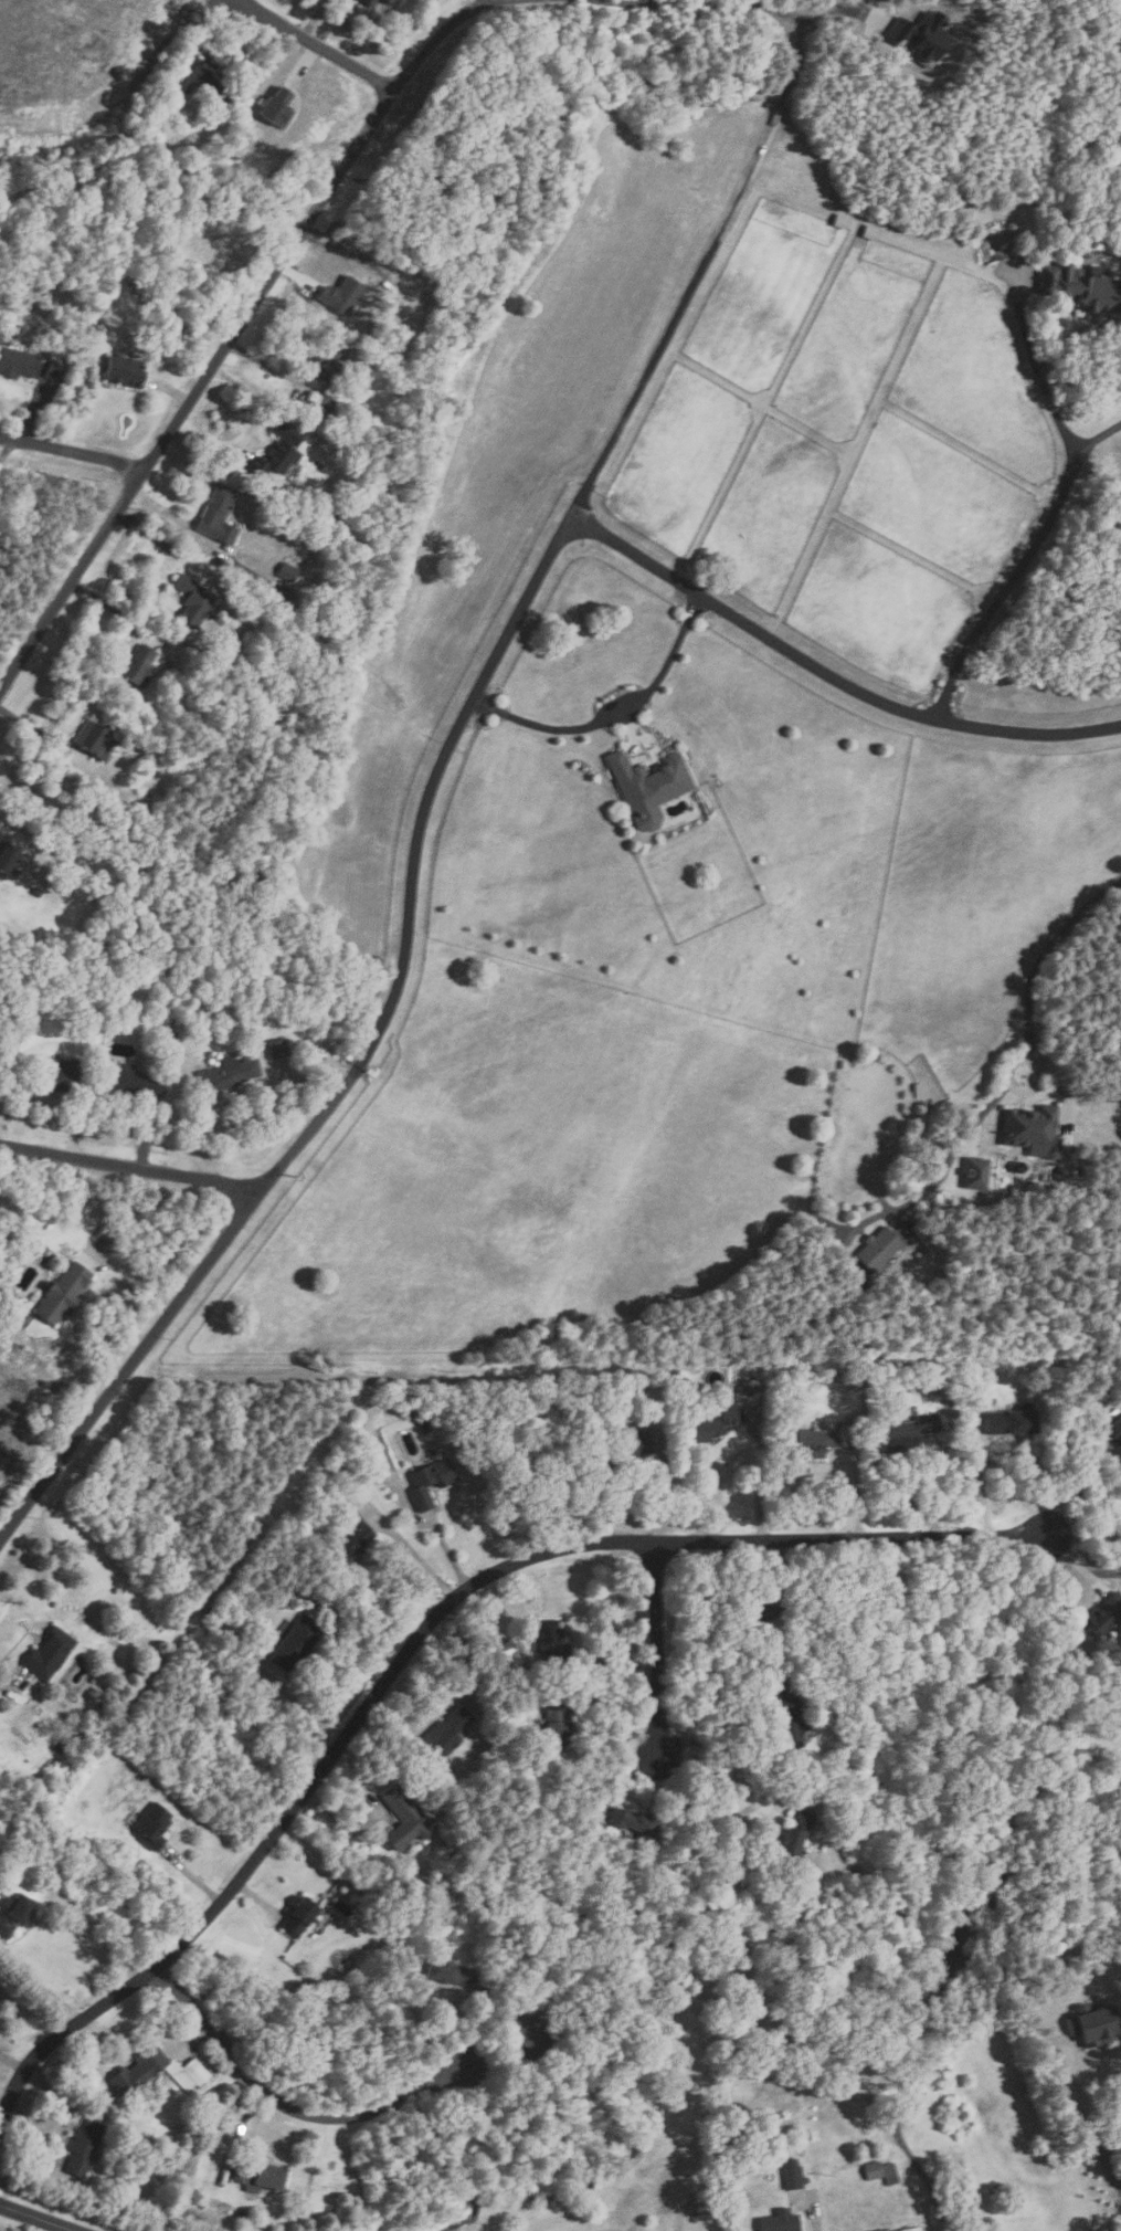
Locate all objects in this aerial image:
building: (366, 3)
building: (392, 3)
road: (484, 4)
road: (317, 18)
road: (194, 38)
building: (926, 39)
road: (319, 46)
road: (304, 63)
building: (189, 76)
building: (277, 106)
building: (838, 220)
building: (868, 231)
road: (702, 270)
road: (298, 276)
building: (1080, 285)
building: (148, 297)
building: (343, 297)
road: (253, 309)
road: (1075, 334)
building: (20, 361)
building: (328, 362)
road: (267, 364)
road: (1038, 369)
building: (56, 370)
building: (121, 370)
building: (394, 386)
road: (172, 388)
building: (325, 401)
road: (35, 417)
road: (252, 430)
building: (285, 431)
road: (1094, 439)
road: (74, 455)
building: (272, 460)
road: (21, 485)
building: (331, 512)
building: (216, 514)
road: (177, 522)
road: (158, 543)
building: (287, 572)
road: (1006, 587)
building: (191, 599)
road: (113, 606)
building: (135, 665)
road: (827, 677)
road: (612, 712)
road: (29, 726)
building: (92, 739)
building: (141, 761)
building: (646, 783)
building: (156, 799)
building: (140, 811)
building: (7, 862)
building: (64, 870)
building: (35, 892)
building: (62, 1007)
building: (84, 1007)
building: (171, 1038)
building: (278, 1048)
road: (367, 1049)
road: (1007, 1069)
building: (226, 1073)
building: (52, 1076)
building: (129, 1082)
road: (51, 1103)
road: (199, 1129)
building: (1032, 1130)
road: (149, 1132)
road: (134, 1161)
building: (975, 1174)
building: (106, 1243)
building: (877, 1249)
road: (134, 1272)
building: (61, 1292)
building: (1089, 1406)
building: (421, 1420)
building: (1006, 1420)
building: (709, 1424)
building: (1112, 1430)
building: (903, 1433)
building: (812, 1442)
building: (624, 1444)
building: (429, 1482)
road: (1069, 1485)
building: (351, 1539)
road: (417, 1559)
building: (761, 1608)
building: (1102, 1614)
road: (420, 1638)
building: (549, 1640)
building: (294, 1642)
road: (659, 1649)
building: (46, 1653)
building: (787, 1717)
building: (554, 1723)
building: (445, 1733)
road: (728, 1753)
building: (402, 1818)
building: (632, 1822)
building: (151, 1825)
building: (592, 1830)
building: (794, 1833)
building: (408, 1882)
building: (13, 1913)
building: (295, 1917)
building: (444, 1974)
road: (39, 1983)
building: (296, 1988)
building: (1091, 2022)
building: (529, 2031)
building: (135, 2071)
building: (184, 2074)
building: (868, 2088)
road: (284, 2105)
road: (1090, 2126)
building: (82, 2147)
building: (871, 2169)
building: (889, 2172)
building: (791, 2174)
building: (258, 2176)
road: (924, 2176)
building: (806, 2180)
building: (1000, 2192)
road: (35, 2218)
building: (779, 2221)
building: (909, 2228)
building: (884, 2230)
building: (897, 2230)

